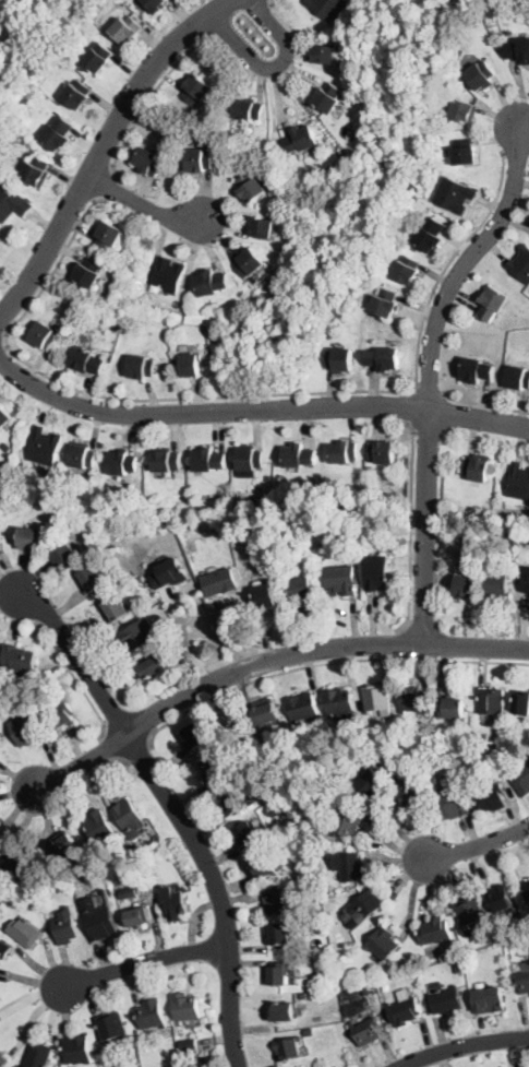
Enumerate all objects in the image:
road: (272, 3)
building: (155, 4)
building: (325, 8)
building: (127, 29)
building: (519, 50)
building: (461, 52)
building: (326, 54)
building: (99, 57)
road: (273, 66)
building: (480, 74)
building: (195, 88)
building: (77, 93)
building: (328, 97)
road: (151, 99)
building: (249, 108)
building: (462, 109)
building: (58, 134)
building: (301, 139)
road: (104, 149)
building: (465, 152)
building: (199, 159)
building: (148, 161)
building: (36, 170)
road: (108, 186)
building: (251, 187)
building: (455, 194)
building: (12, 202)
road: (143, 205)
building: (262, 227)
building: (108, 234)
building: (431, 235)
building: (250, 262)
building: (521, 264)
building: (408, 270)
building: (89, 272)
building: (168, 274)
building: (211, 282)
building: (385, 303)
building: (493, 303)
building: (175, 327)
building: (45, 335)
road: (2, 345)
building: (385, 358)
building: (340, 359)
building: (86, 360)
building: (191, 365)
building: (142, 366)
building: (477, 369)
road: (431, 374)
building: (518, 377)
road: (429, 391)
road: (240, 396)
road: (484, 404)
road: (408, 407)
road: (257, 410)
building: (4, 416)
building: (7, 444)
building: (45, 446)
building: (383, 451)
building: (342, 452)
building: (82, 455)
building: (299, 455)
building: (251, 459)
building: (208, 460)
building: (167, 461)
building: (123, 463)
building: (477, 469)
building: (518, 482)
building: (176, 506)
building: (219, 511)
building: (287, 525)
building: (214, 526)
road: (410, 526)
building: (509, 534)
building: (32, 538)
building: (476, 541)
building: (1, 549)
building: (65, 554)
building: (380, 572)
building: (170, 573)
building: (94, 577)
building: (342, 579)
building: (526, 580)
building: (220, 581)
building: (469, 583)
building: (502, 585)
building: (302, 589)
building: (266, 596)
building: (116, 608)
building: (161, 619)
building: (140, 636)
road: (405, 643)
building: (19, 659)
building: (184, 660)
road: (266, 660)
building: (156, 664)
road: (325, 664)
road: (74, 677)
building: (376, 697)
building: (414, 699)
building: (340, 701)
building: (492, 701)
building: (521, 703)
building: (302, 707)
building: (454, 708)
building: (267, 714)
building: (62, 715)
building: (27, 728)
building: (484, 736)
building: (194, 737)
building: (0, 739)
road: (109, 746)
road: (137, 752)
building: (215, 769)
road: (99, 770)
building: (521, 780)
building: (368, 785)
building: (412, 794)
building: (492, 797)
building: (238, 801)
building: (453, 802)
road: (177, 809)
building: (130, 816)
building: (348, 823)
building: (99, 829)
building: (247, 834)
building: (298, 838)
road: (479, 844)
building: (62, 849)
building: (21, 859)
building: (349, 864)
building: (264, 866)
building: (526, 889)
building: (129, 892)
building: (276, 900)
building: (504, 900)
building: (173, 902)
building: (366, 904)
building: (470, 912)
building: (329, 913)
building: (139, 916)
building: (101, 923)
building: (65, 926)
building: (435, 930)
building: (25, 932)
building: (279, 934)
building: (492, 937)
building: (383, 942)
building: (328, 946)
building: (4, 949)
road: (145, 961)
building: (458, 964)
building: (340, 969)
building: (324, 971)
building: (280, 973)
building: (522, 980)
building: (342, 985)
building: (366, 989)
building: (304, 994)
building: (446, 999)
building: (489, 1000)
building: (187, 1007)
building: (405, 1008)
building: (284, 1011)
building: (152, 1013)
building: (111, 1025)
building: (368, 1031)
building: (309, 1032)
building: (188, 1045)
road: (460, 1045)
building: (77, 1050)
building: (289, 1050)
building: (39, 1055)
building: (2, 1059)

